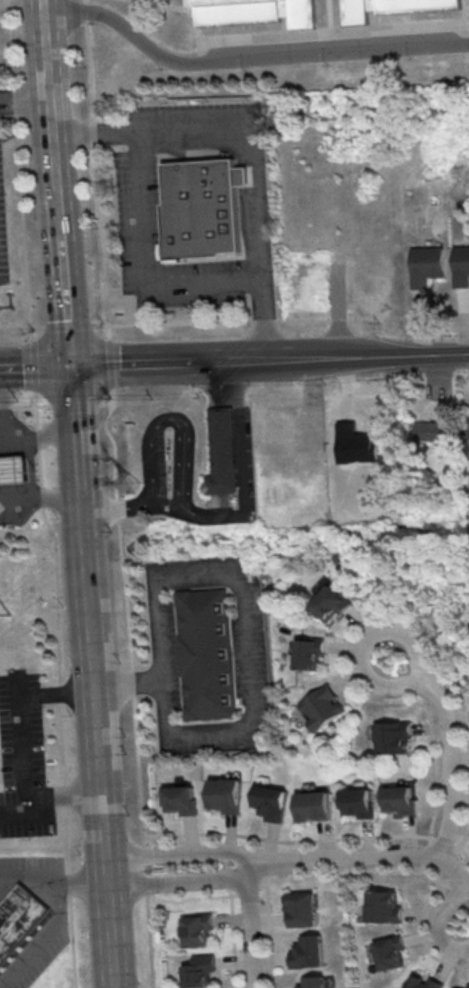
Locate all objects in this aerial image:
road: (40, 6)
building: (392, 7)
building: (254, 12)
road: (246, 59)
road: (25, 97)
road: (51, 99)
road: (253, 152)
building: (201, 208)
road: (61, 210)
road: (104, 260)
building: (426, 266)
building: (461, 267)
road: (140, 268)
road: (69, 300)
road: (155, 325)
road: (353, 358)
road: (157, 364)
road: (37, 367)
traffic signals: (76, 367)
road: (4, 387)
road: (168, 420)
building: (434, 431)
road: (38, 437)
road: (79, 439)
road: (1, 443)
building: (224, 450)
road: (244, 467)
building: (13, 471)
power tower: (129, 482)
road: (41, 495)
road: (43, 495)
road: (118, 509)
building: (330, 601)
building: (310, 653)
building: (205, 656)
road: (249, 666)
road: (417, 679)
building: (321, 706)
road: (22, 728)
building: (393, 737)
road: (99, 749)
road: (139, 783)
building: (224, 796)
road: (64, 797)
building: (179, 802)
building: (397, 802)
building: (269, 804)
building: (357, 804)
building: (312, 808)
road: (179, 854)
road: (363, 855)
road: (318, 876)
road: (53, 882)
road: (181, 883)
building: (384, 906)
building: (302, 909)
building: (17, 917)
road: (231, 923)
road: (439, 924)
road: (250, 926)
building: (198, 930)
road: (41, 937)
building: (307, 952)
building: (390, 952)
building: (201, 972)
building: (422, 981)
building: (312, 982)
building: (461, 986)

